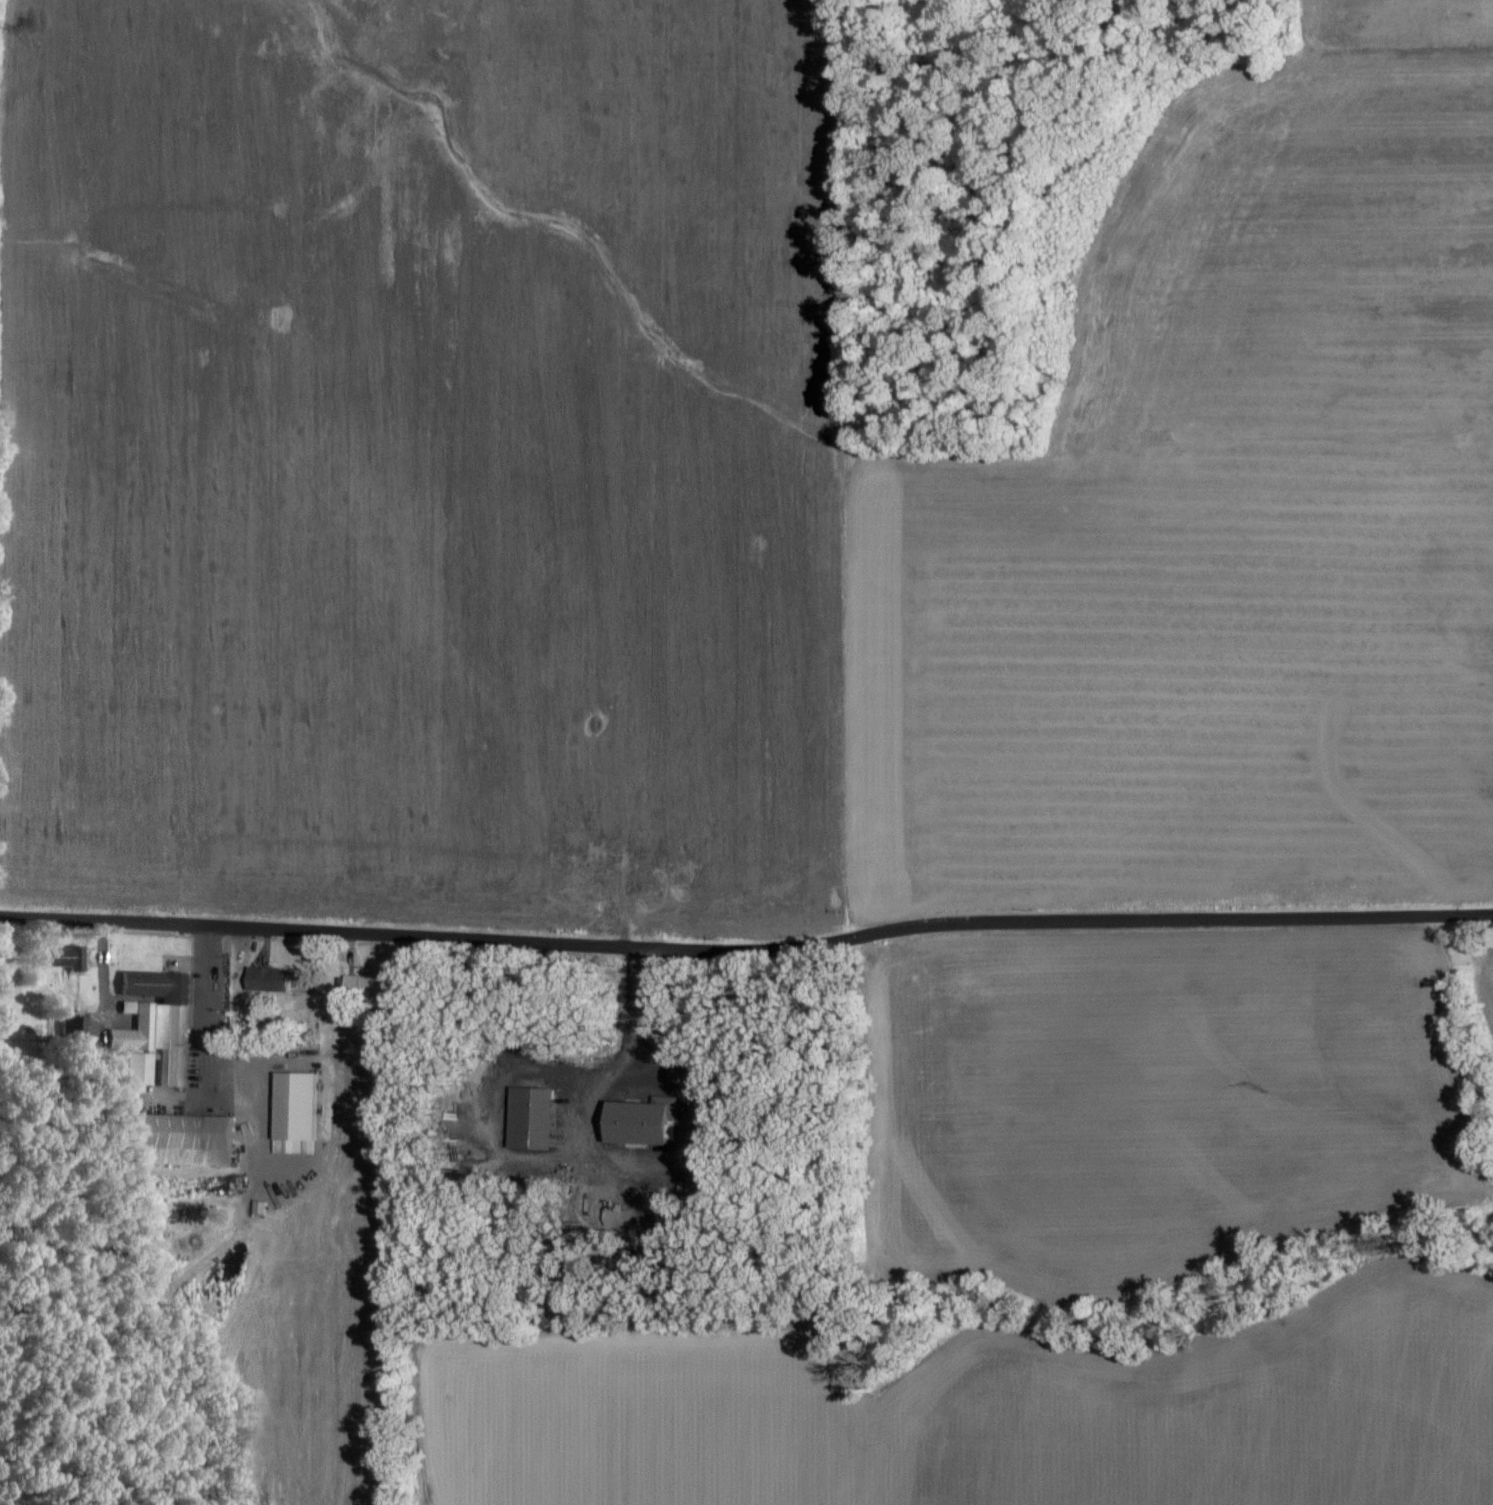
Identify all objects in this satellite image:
road: (747, 949)
building: (69, 958)
building: (271, 979)
building: (368, 985)
building: (161, 1022)
building: (143, 1068)
building: (539, 1118)
building: (649, 1121)
building: (189, 1140)
building: (262, 1207)

